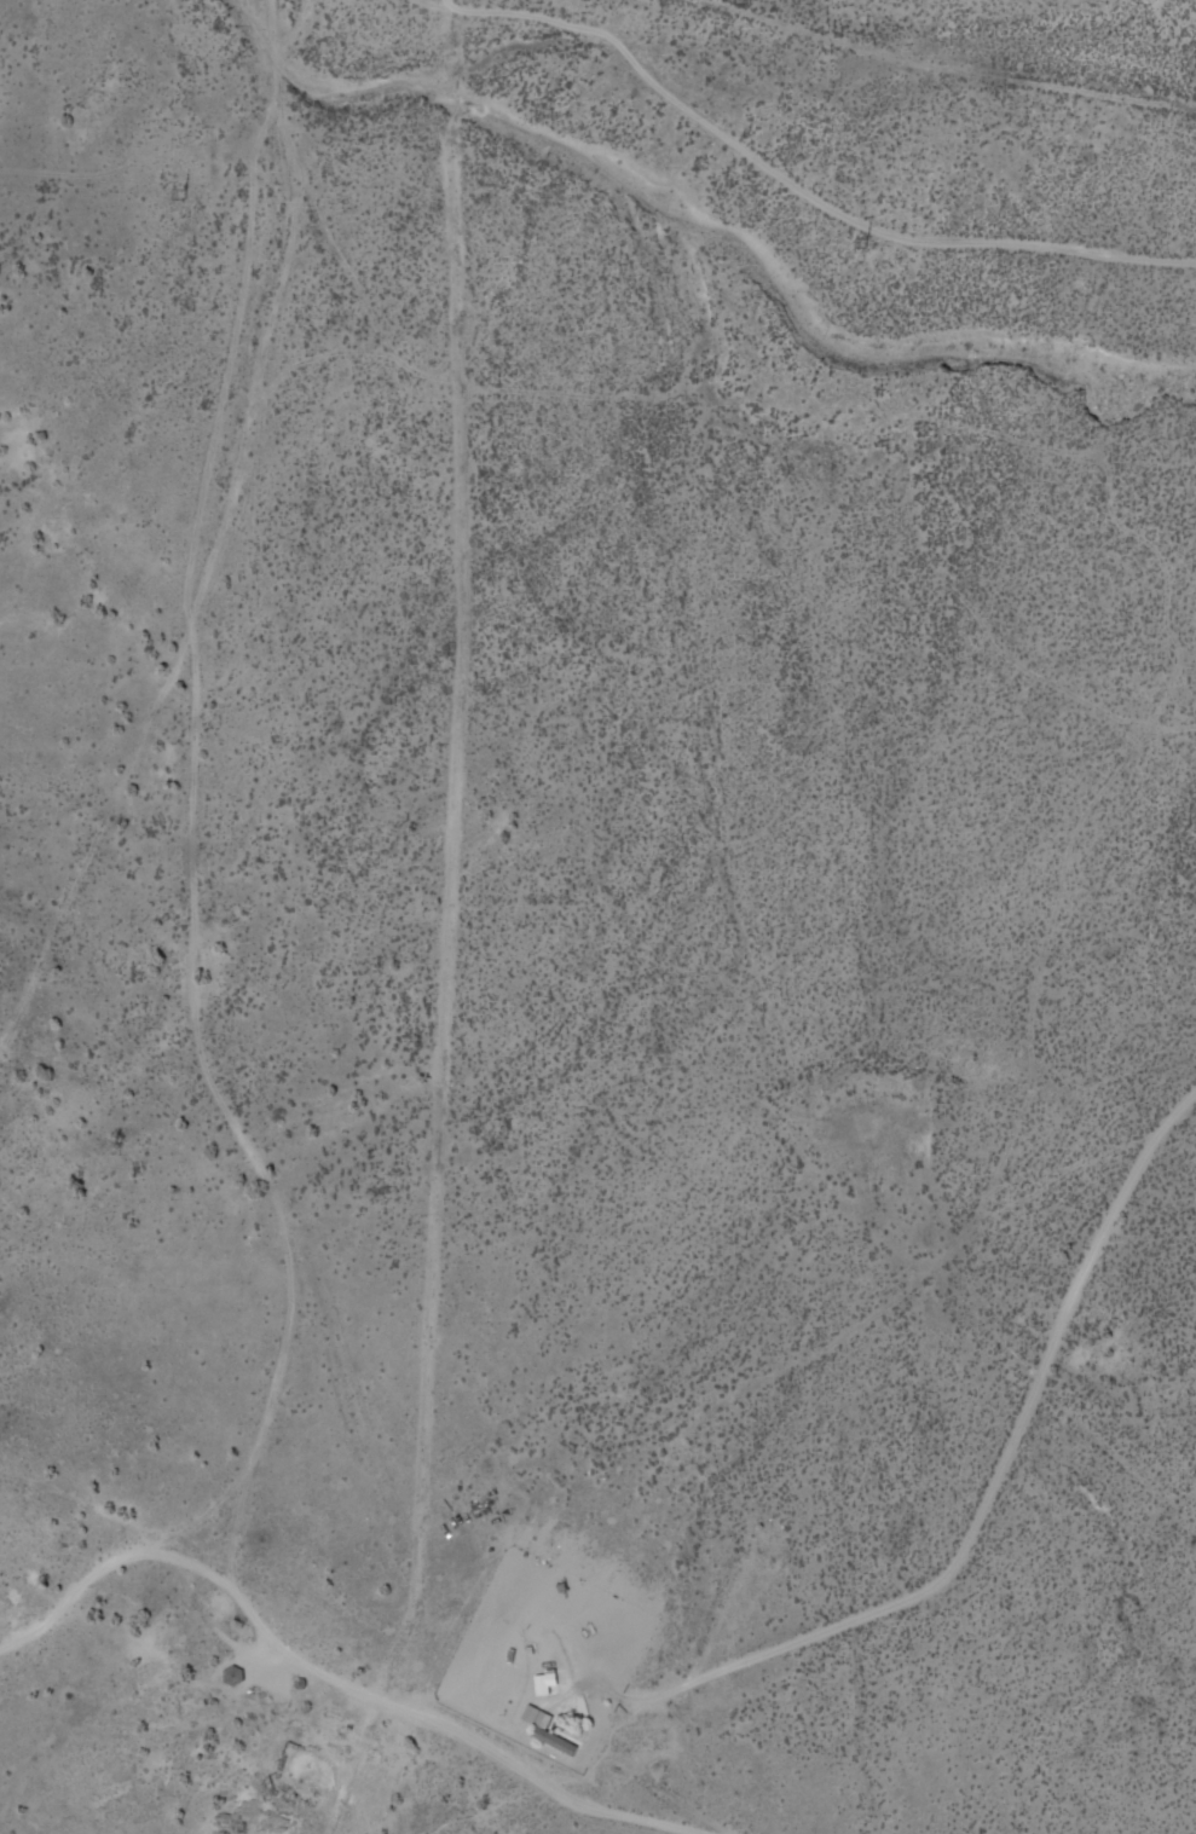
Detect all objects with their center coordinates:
road: (1022, 37)
road: (786, 184)
power tower: (174, 195)
power tower: (855, 245)
road: (189, 895)
building: (233, 1676)
building: (544, 1682)
road: (392, 1702)
building: (542, 1706)

